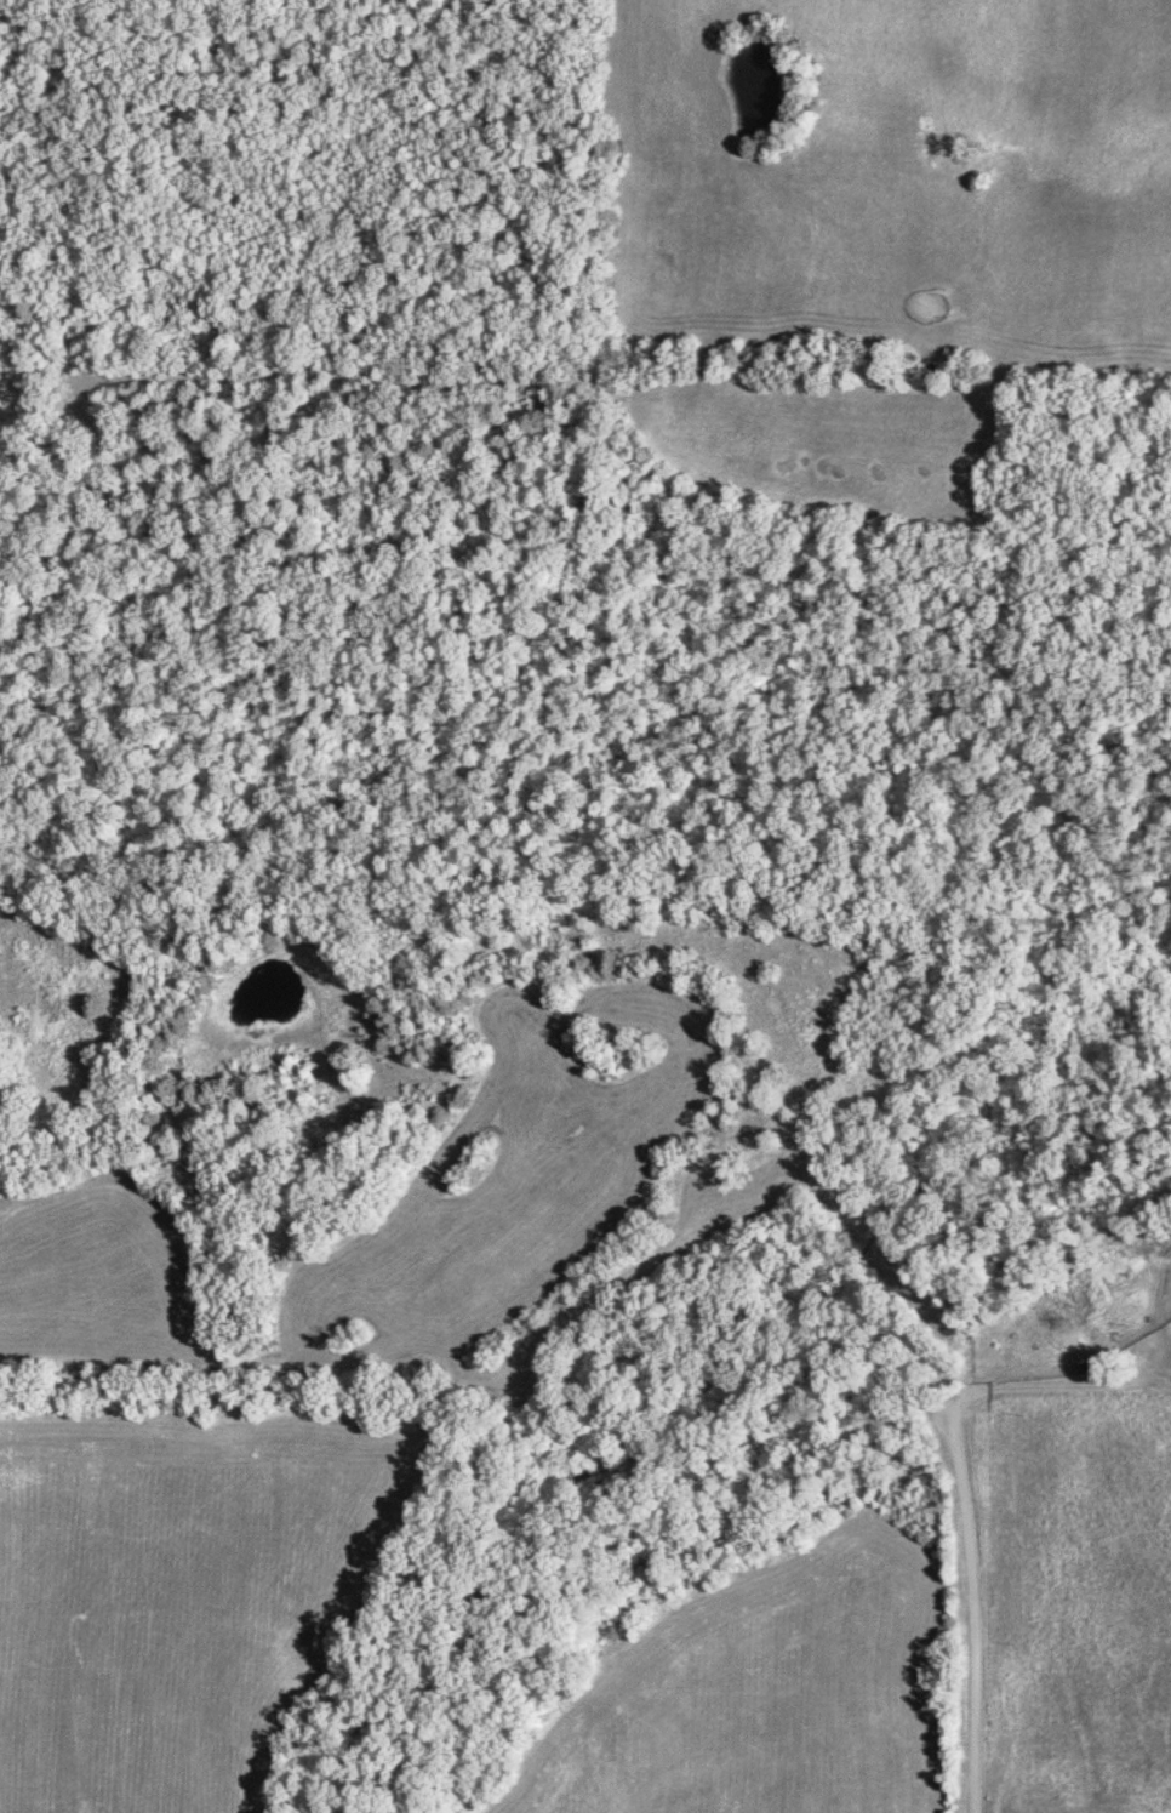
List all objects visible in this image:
road: (966, 1499)

